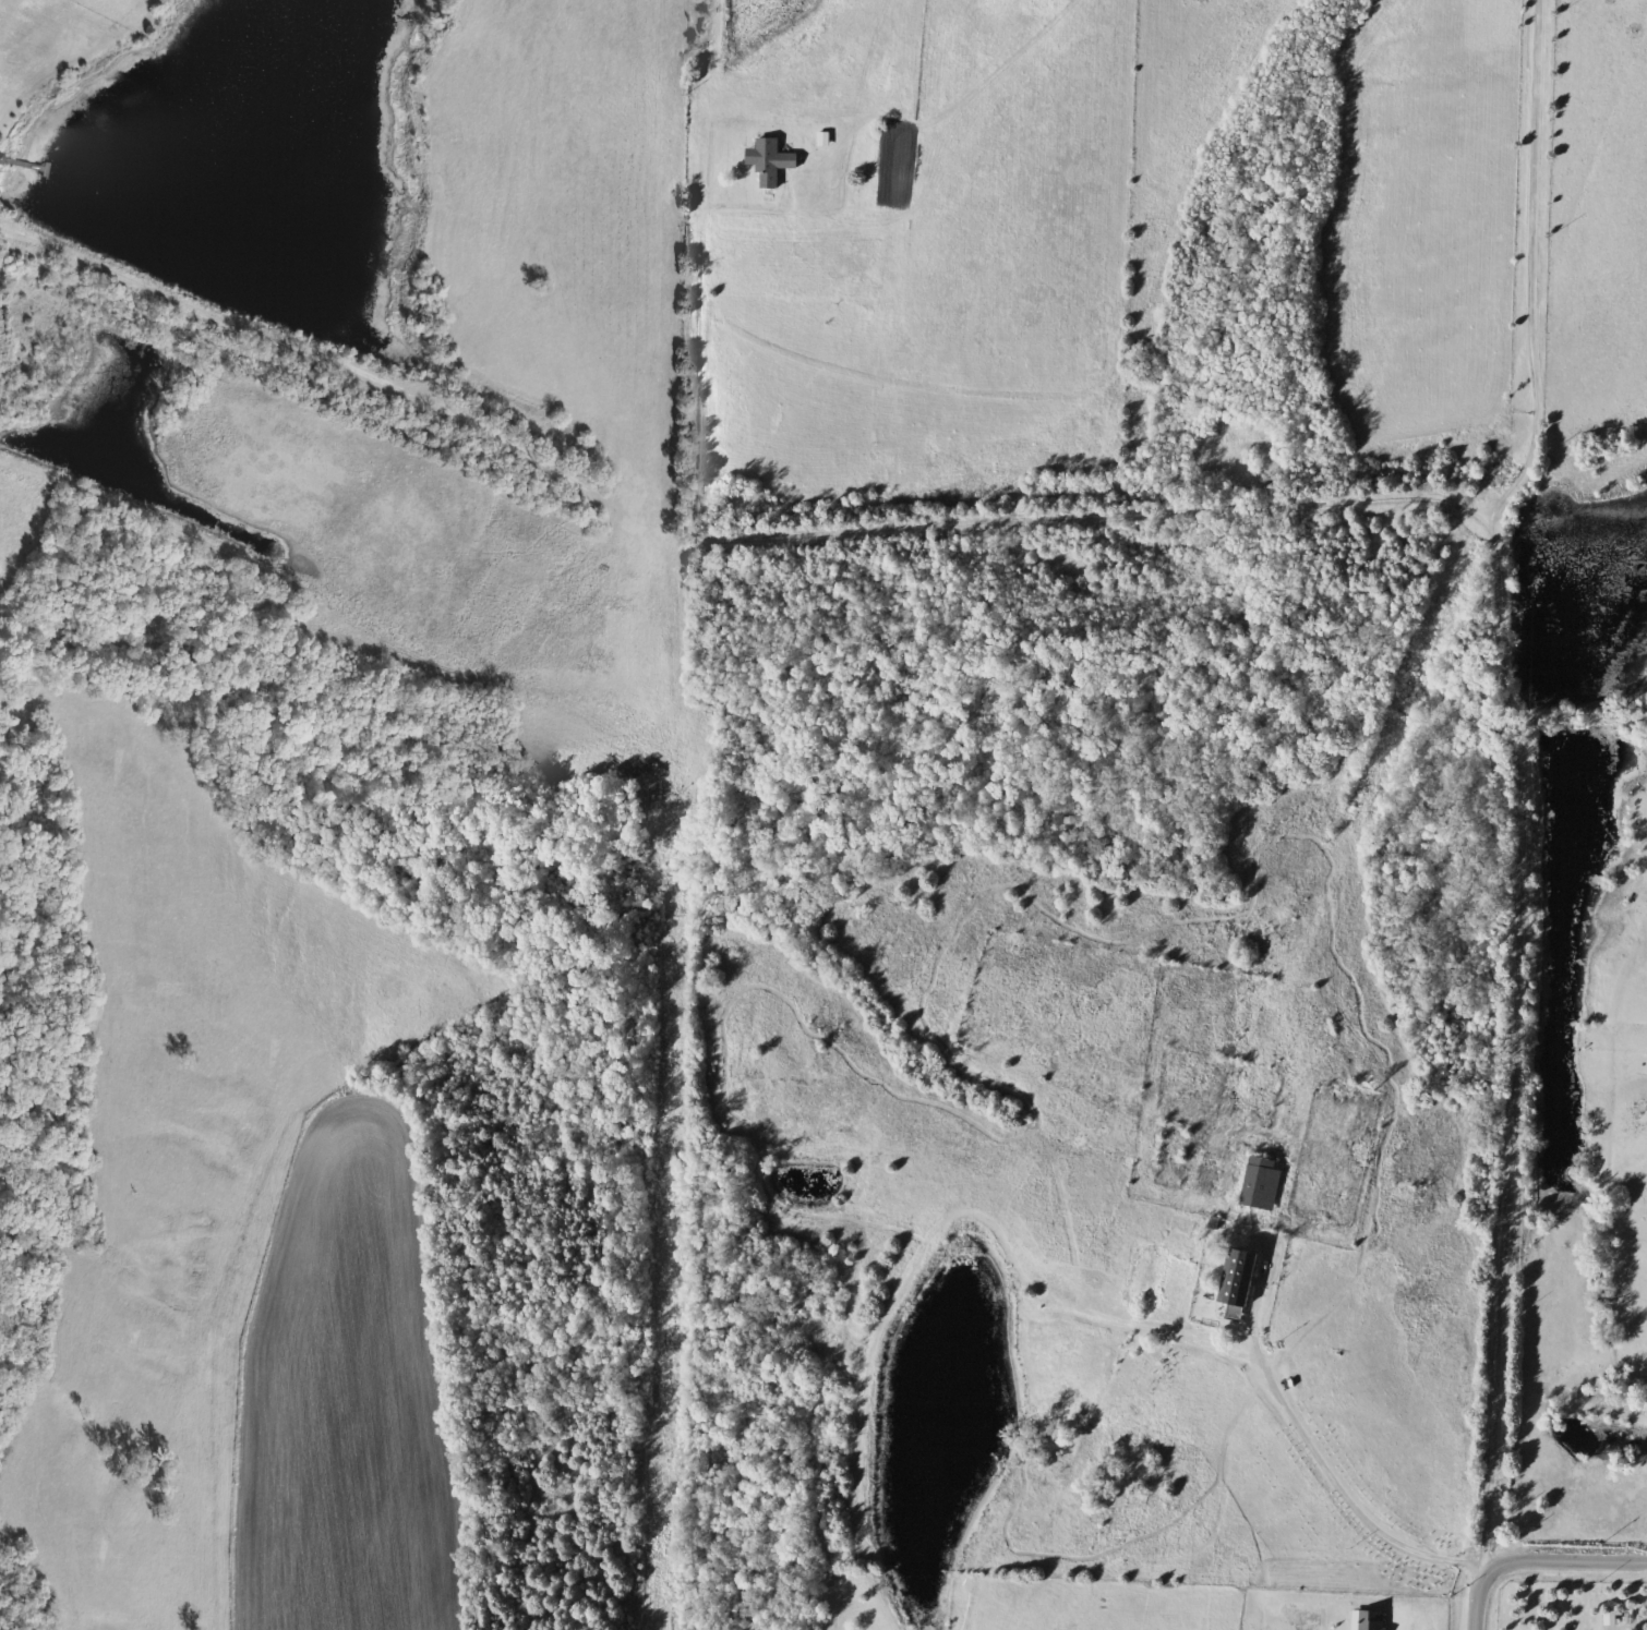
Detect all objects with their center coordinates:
building: (771, 160)
road: (1534, 270)
road: (1451, 508)
building: (1262, 1184)
building: (1239, 1281)
road: (1338, 1486)
road: (1534, 1565)
road: (1642, 1625)

